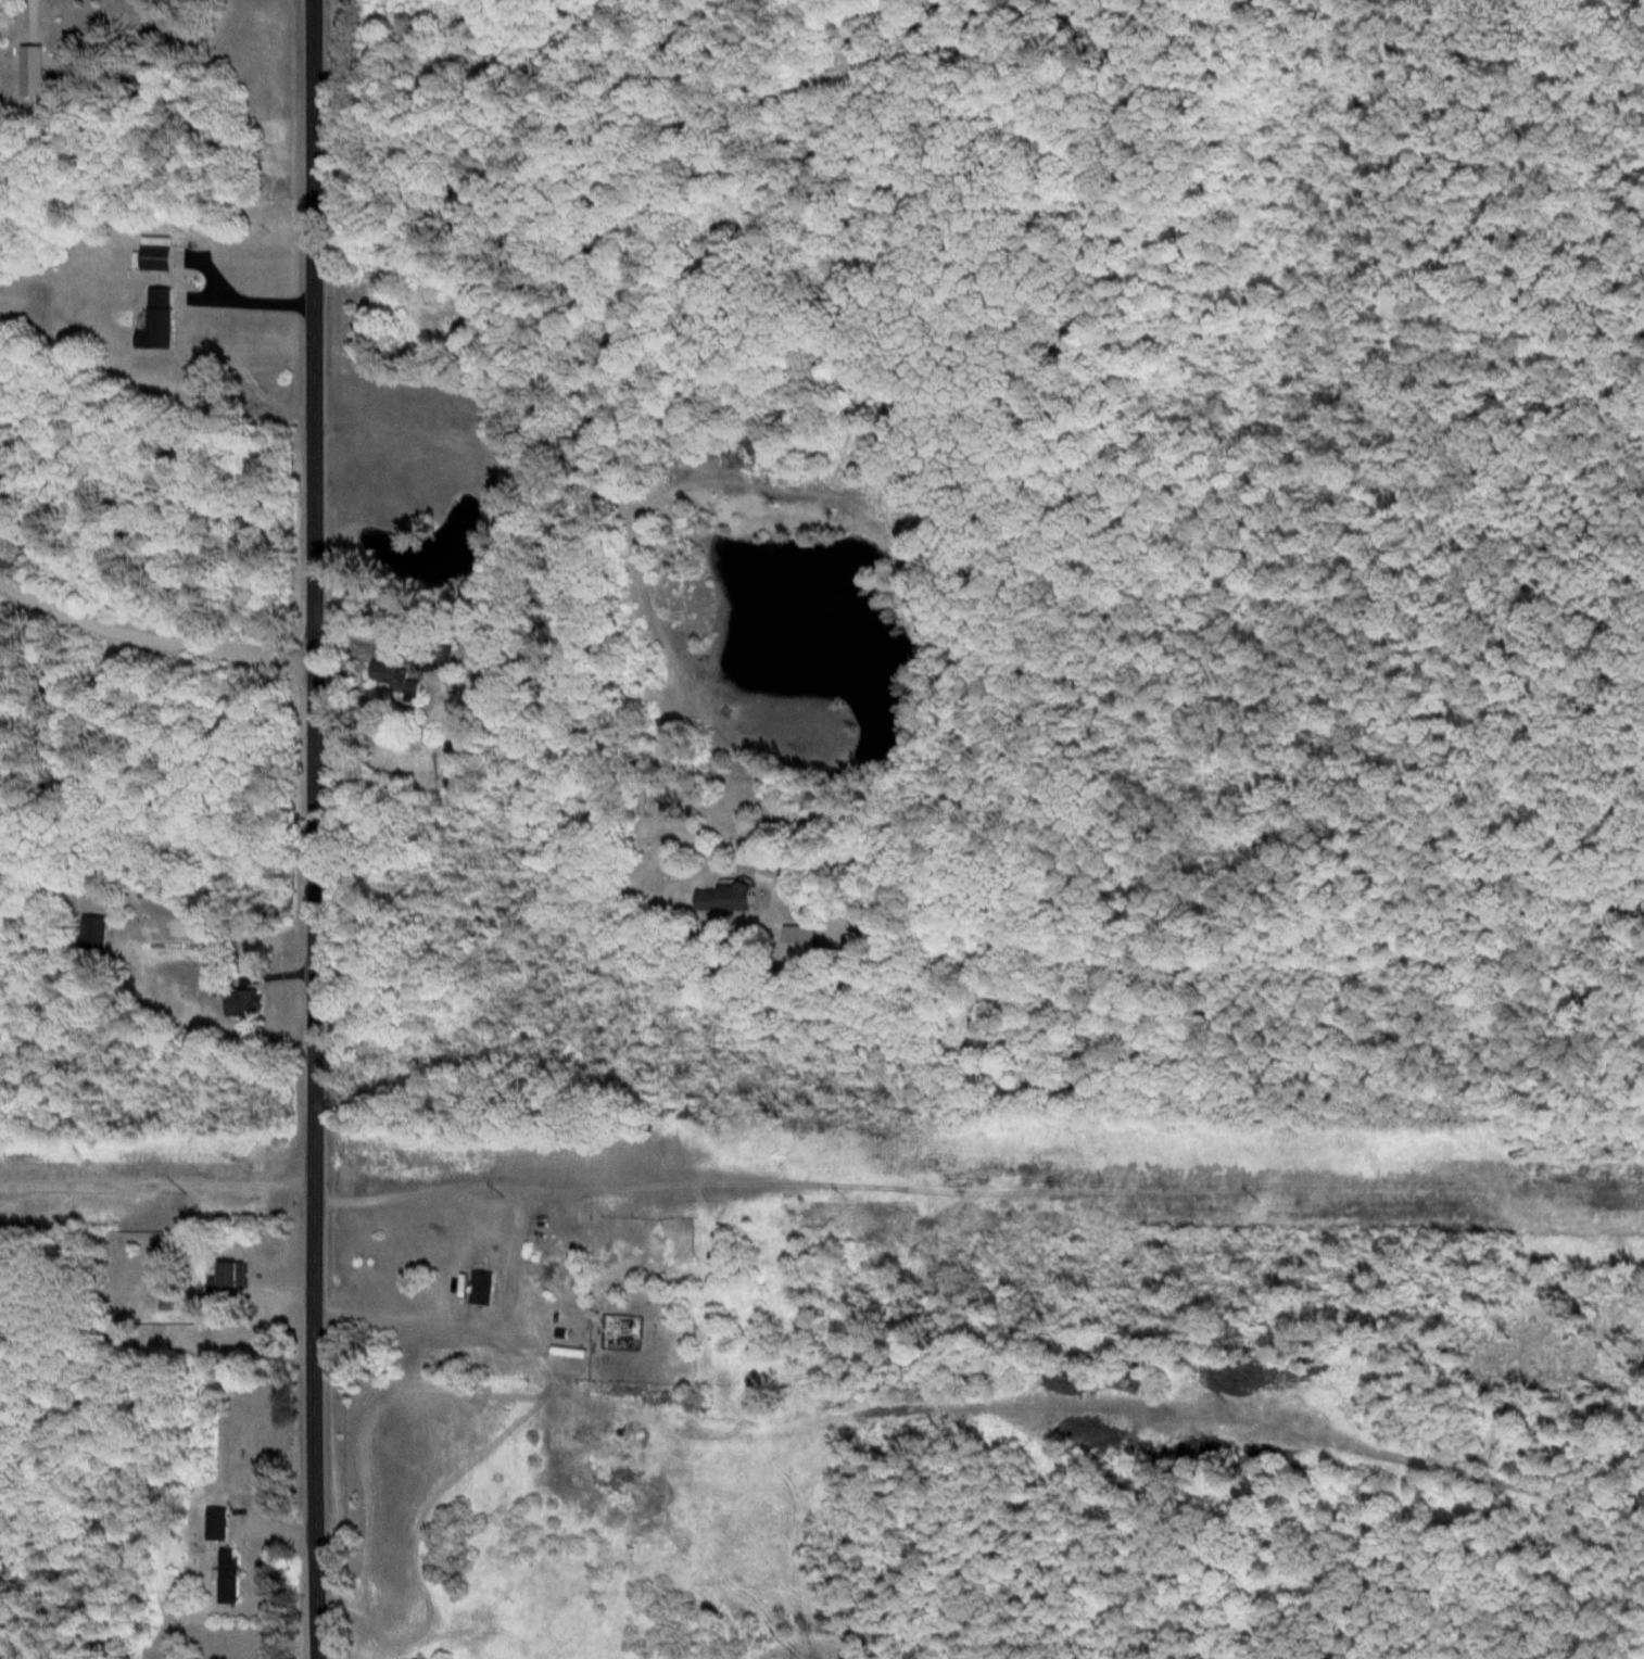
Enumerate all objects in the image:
building: (38, 72)
building: (162, 254)
building: (167, 318)
building: (400, 677)
road: (313, 829)
building: (731, 899)
building: (98, 933)
road: (489, 935)
building: (243, 1000)
road: (156, 1185)
building: (237, 1276)
building: (648, 1279)
building: (484, 1288)
building: (219, 1525)
building: (233, 1579)

